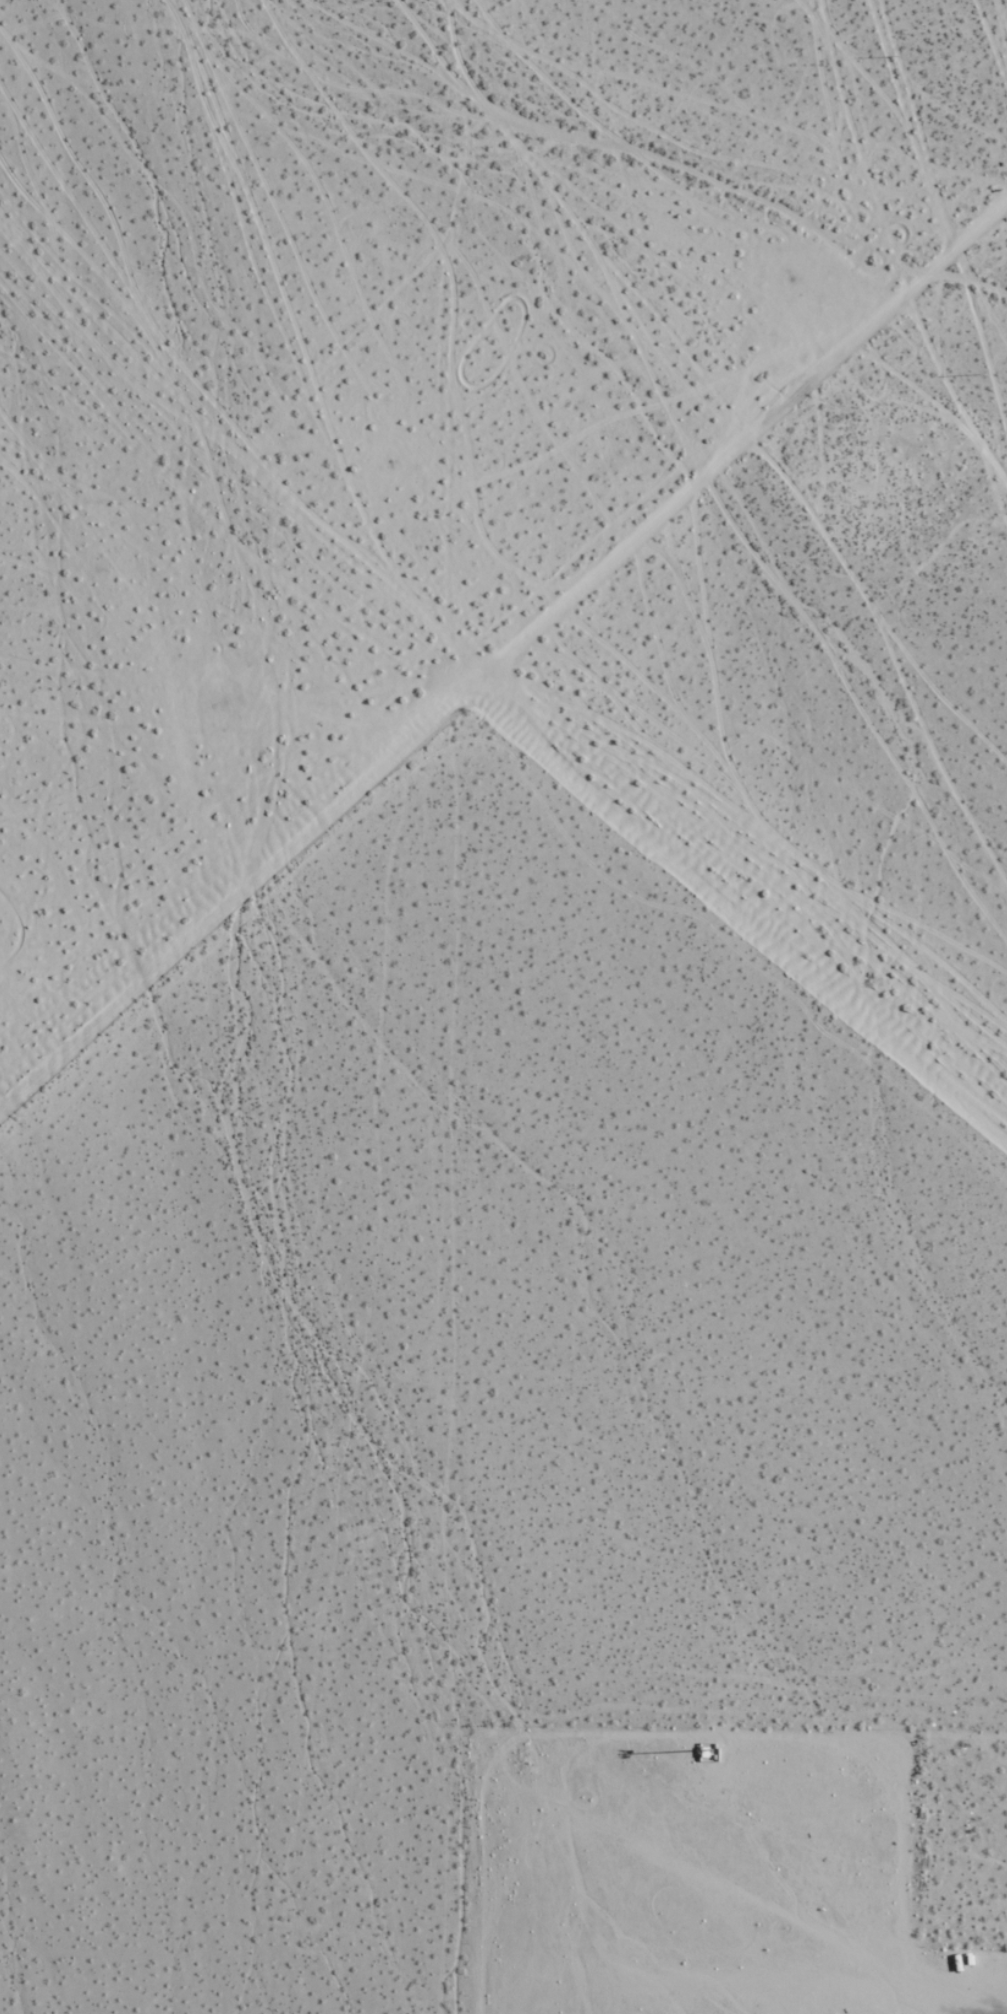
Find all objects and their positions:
road: (502, 662)

